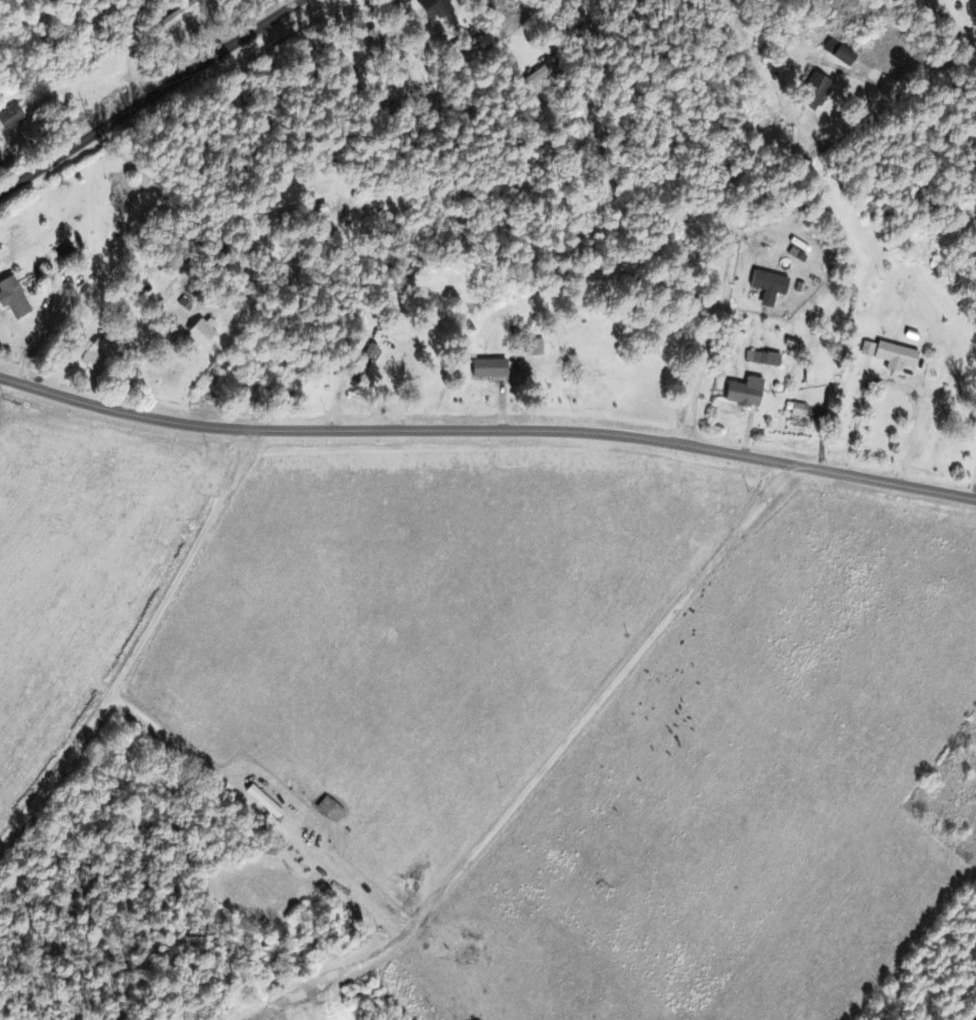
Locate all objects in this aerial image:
building: (434, 8)
building: (366, 42)
building: (837, 53)
building: (540, 75)
building: (812, 92)
road: (150, 96)
building: (9, 118)
road: (755, 195)
building: (316, 210)
building: (768, 282)
building: (11, 299)
building: (200, 333)
building: (893, 356)
building: (761, 358)
building: (90, 359)
building: (362, 363)
building: (487, 369)
building: (743, 392)
building: (797, 410)
road: (487, 429)
road: (694, 585)
building: (262, 801)

